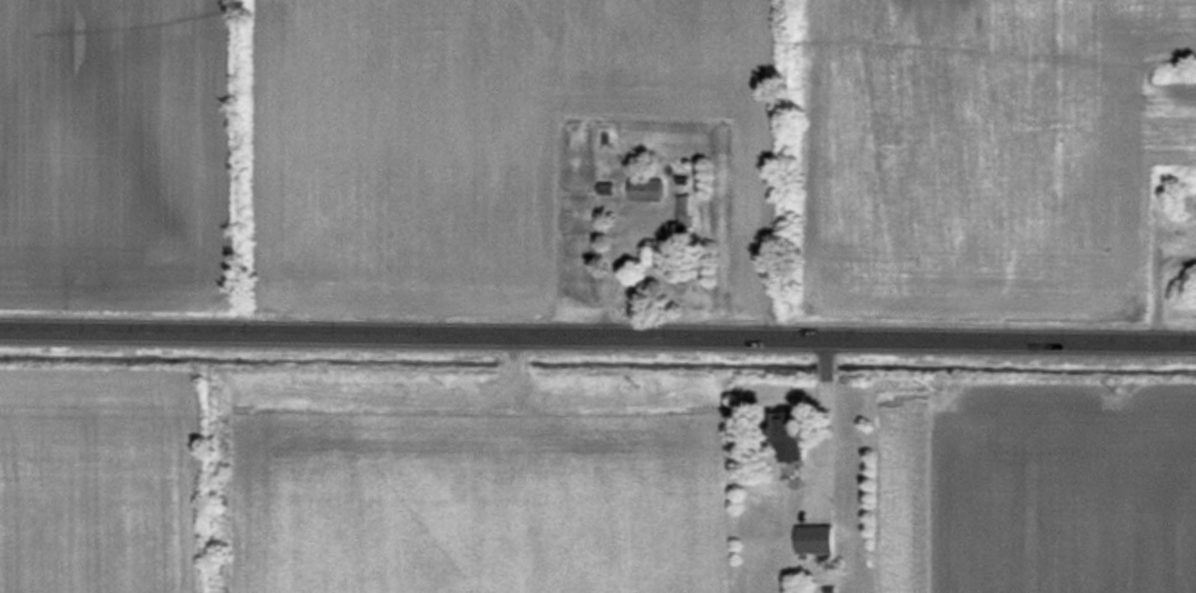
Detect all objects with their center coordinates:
building: (647, 190)
building: (1189, 205)
building: (682, 221)
road: (597, 333)
building: (793, 435)

